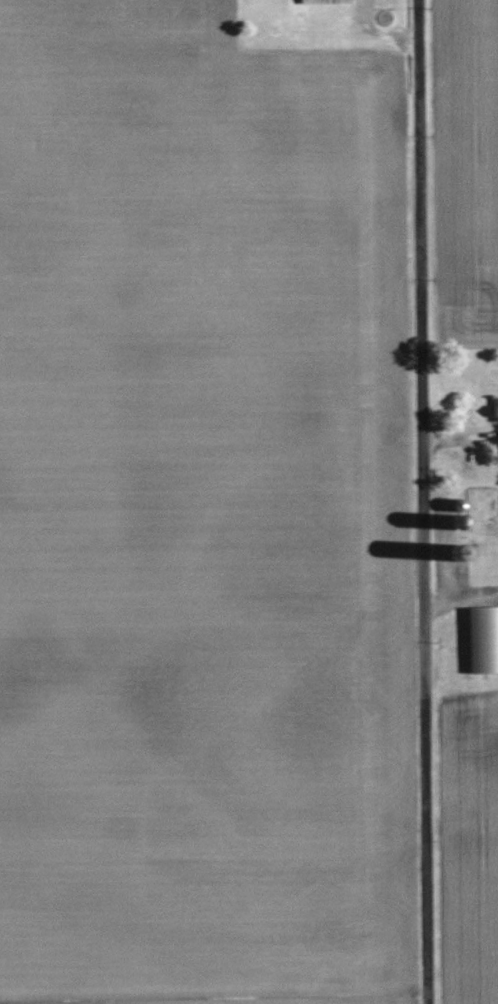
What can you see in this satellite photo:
building: (326, 2)
building: (495, 409)
road: (421, 502)
building: (483, 640)

